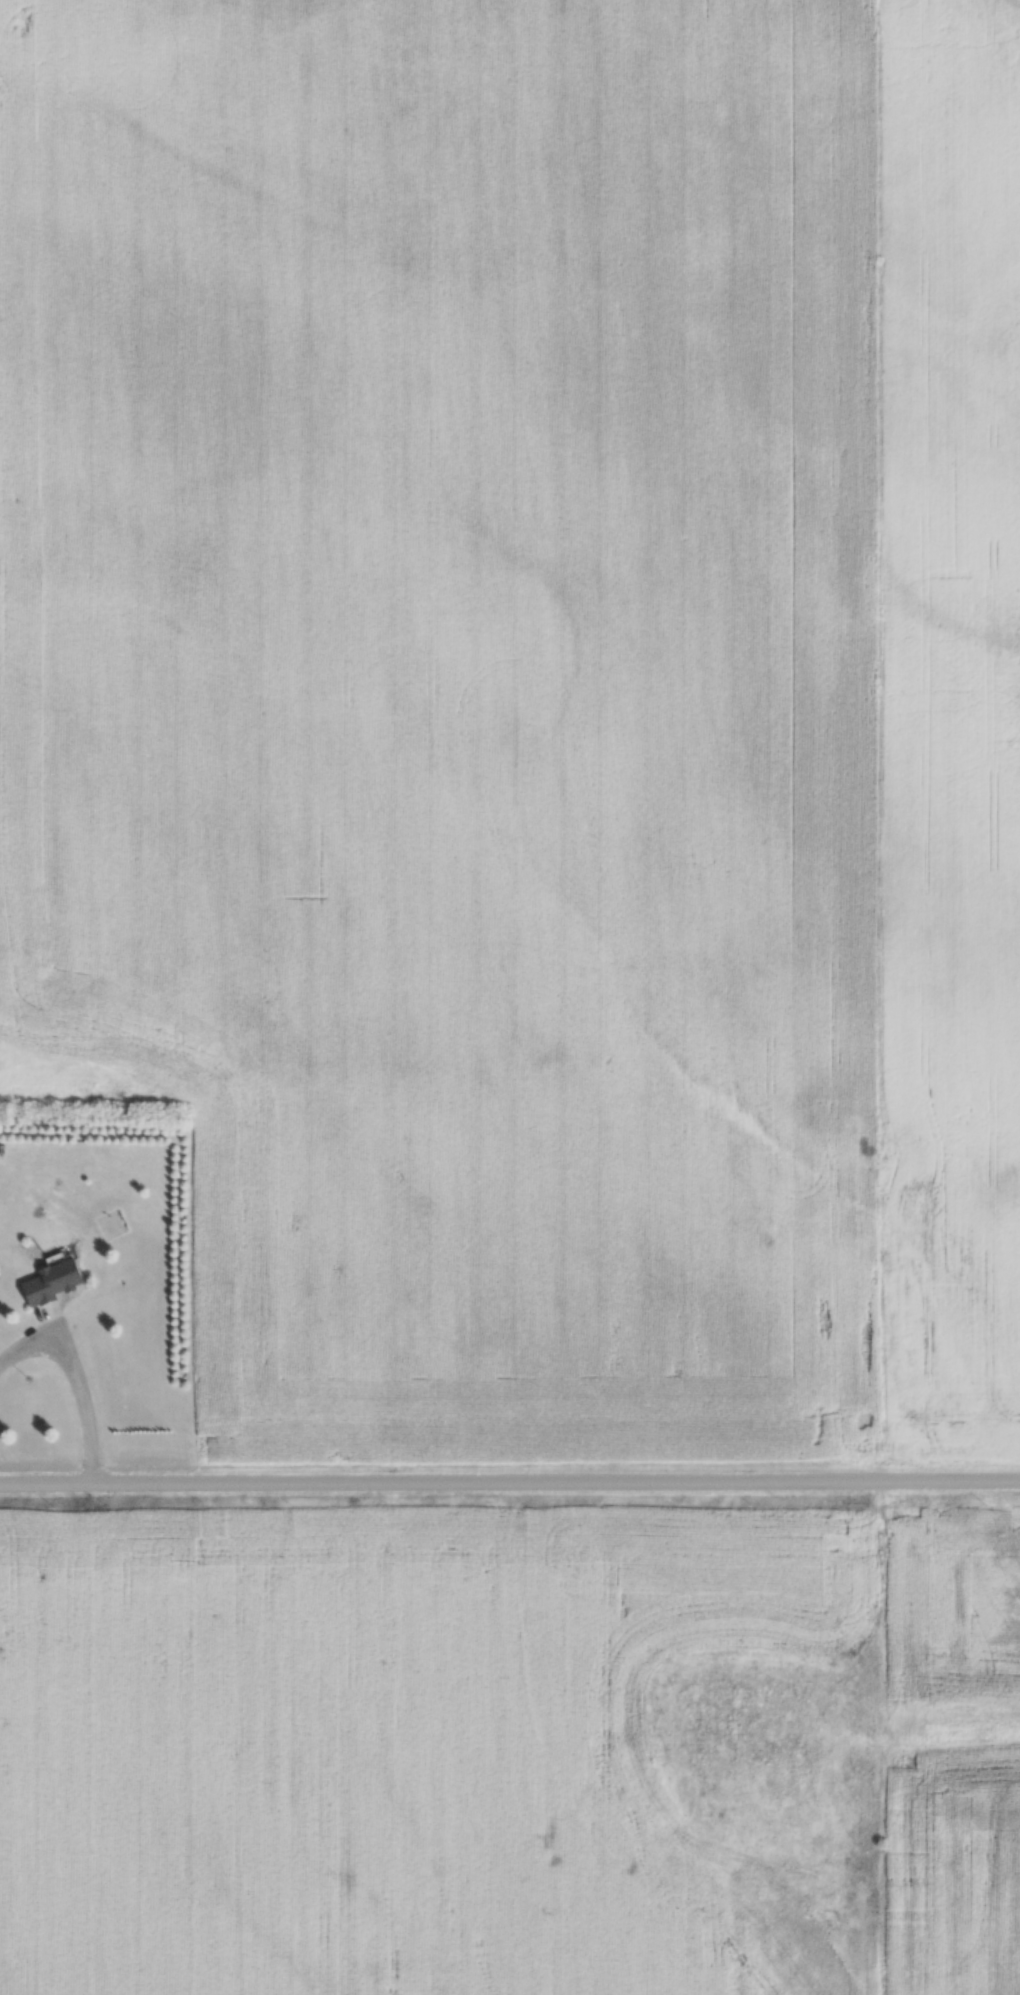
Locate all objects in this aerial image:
building: (56, 1280)
road: (76, 1380)
road: (510, 1482)

